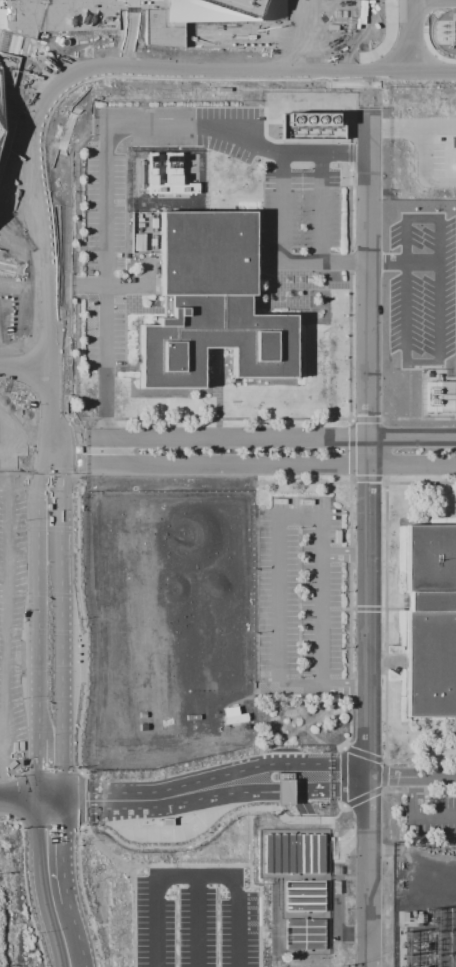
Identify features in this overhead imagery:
building: (224, 12)
building: (53, 17)
road: (410, 35)
road: (72, 75)
building: (311, 118)
road: (238, 139)
road: (282, 207)
road: (322, 207)
road: (107, 284)
building: (217, 308)
road: (27, 351)
road: (438, 360)
road: (25, 365)
parking lot: (9, 425)
road: (281, 439)
road: (267, 466)
road: (368, 537)
road: (279, 540)
road: (344, 554)
parking lot: (300, 596)
road: (37, 620)
road: (61, 621)
building: (433, 621)
building: (233, 715)
road: (265, 768)
building: (283, 775)
road: (392, 776)
road: (326, 777)
road: (320, 778)
building: (284, 791)
road: (284, 791)
road: (369, 793)
road: (18, 798)
traffic signals: (37, 798)
road: (80, 798)
traffic signals: (61, 799)
road: (147, 799)
parking lot: (304, 807)
road: (332, 817)
building: (167, 821)
road: (167, 833)
road: (141, 846)
road: (105, 850)
building: (296, 853)
road: (140, 864)
road: (195, 876)
road: (39, 883)
road: (65, 884)
road: (257, 885)
building: (305, 896)
power substation: (427, 906)
parking lot: (196, 918)
road: (197, 921)
building: (305, 933)

